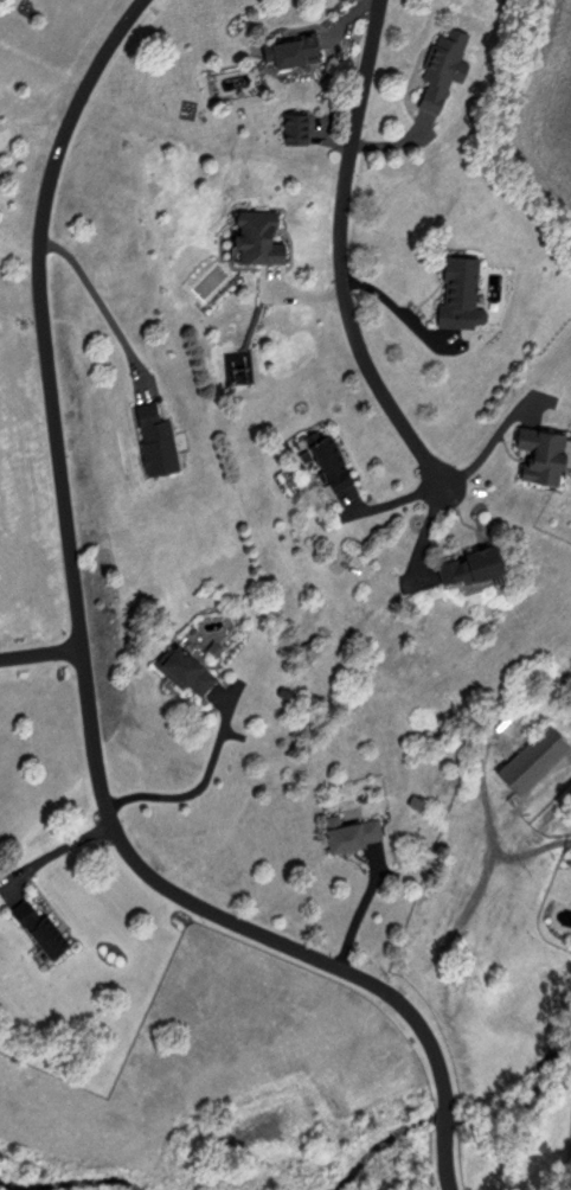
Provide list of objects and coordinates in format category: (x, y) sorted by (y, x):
building: (295, 50)
building: (443, 68)
building: (295, 126)
road: (32, 129)
building: (256, 236)
road: (342, 251)
road: (19, 254)
building: (458, 290)
road: (98, 300)
building: (155, 439)
building: (538, 452)
building: (329, 462)
building: (466, 564)
road: (82, 632)
road: (41, 652)
building: (184, 668)
building: (530, 757)
road: (194, 788)
building: (353, 832)
road: (58, 846)
road: (533, 847)
building: (40, 929)
road: (448, 1135)
road: (450, 1177)

